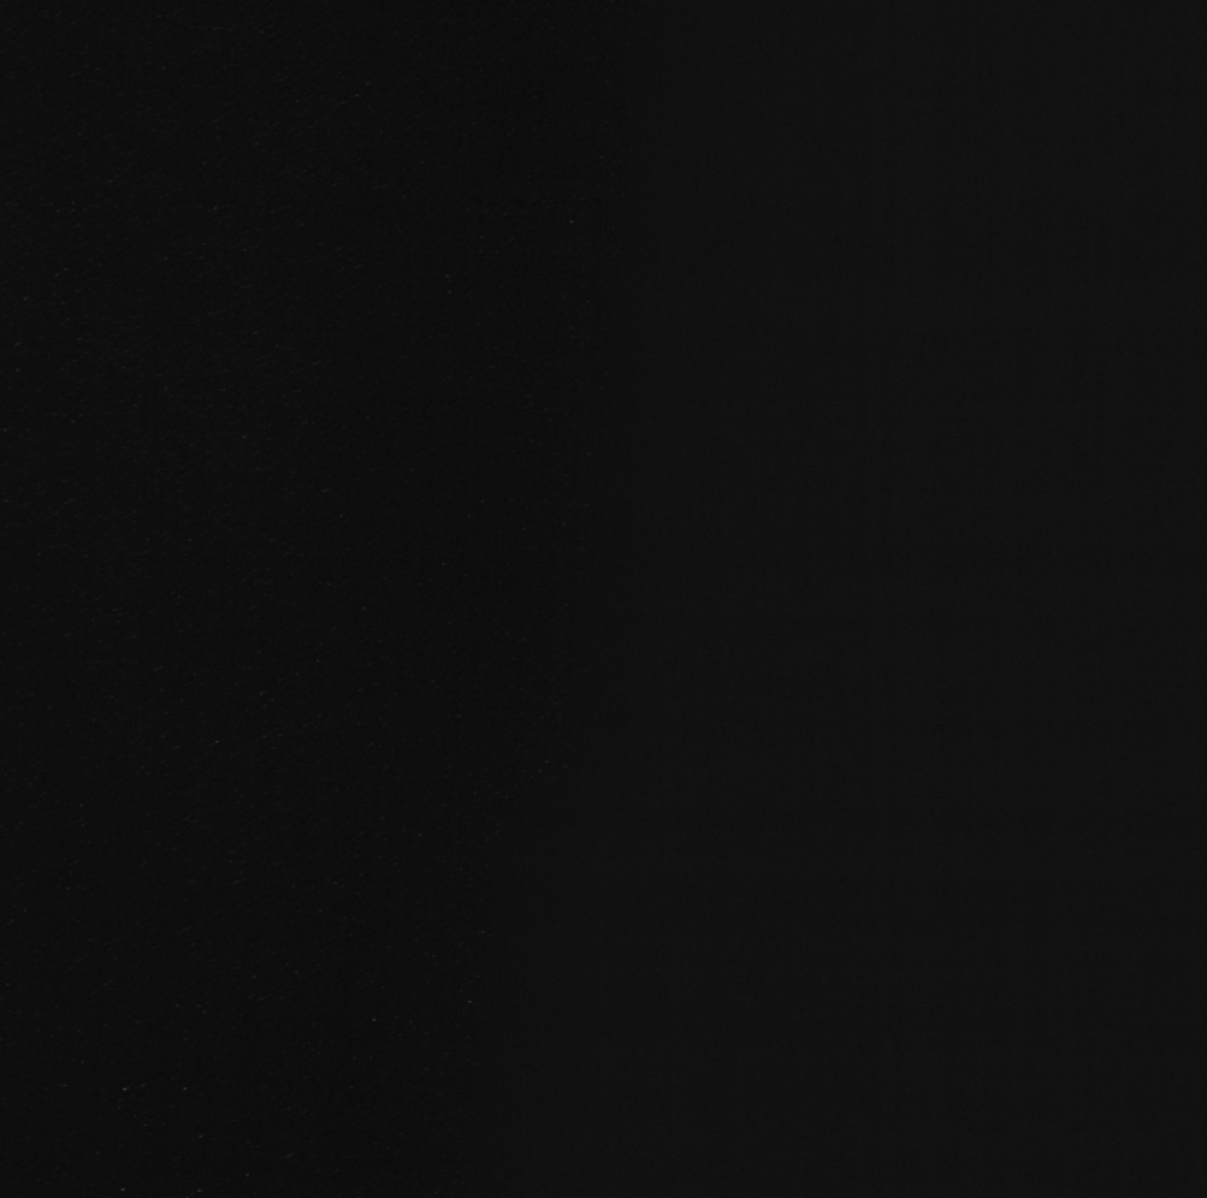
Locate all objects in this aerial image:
river: (924, 338)

